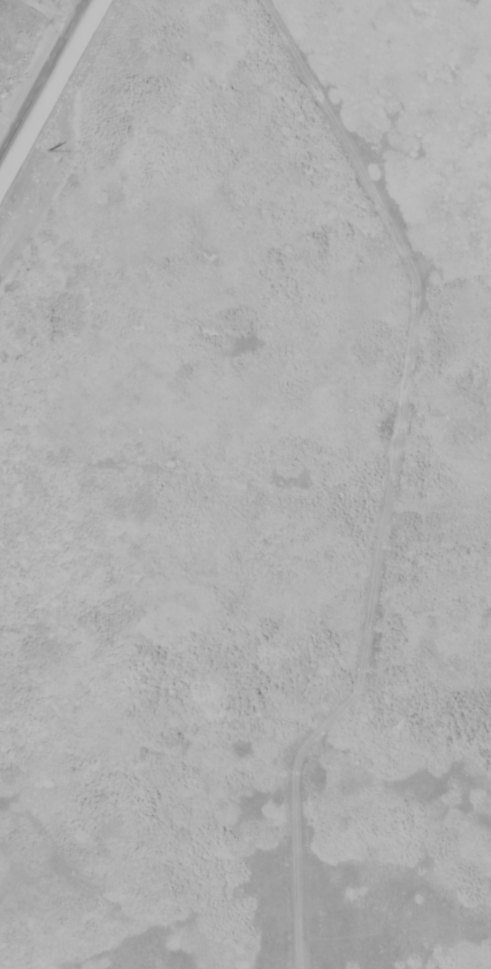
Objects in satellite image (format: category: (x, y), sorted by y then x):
road: (42, 75)
airport: (250, 494)

